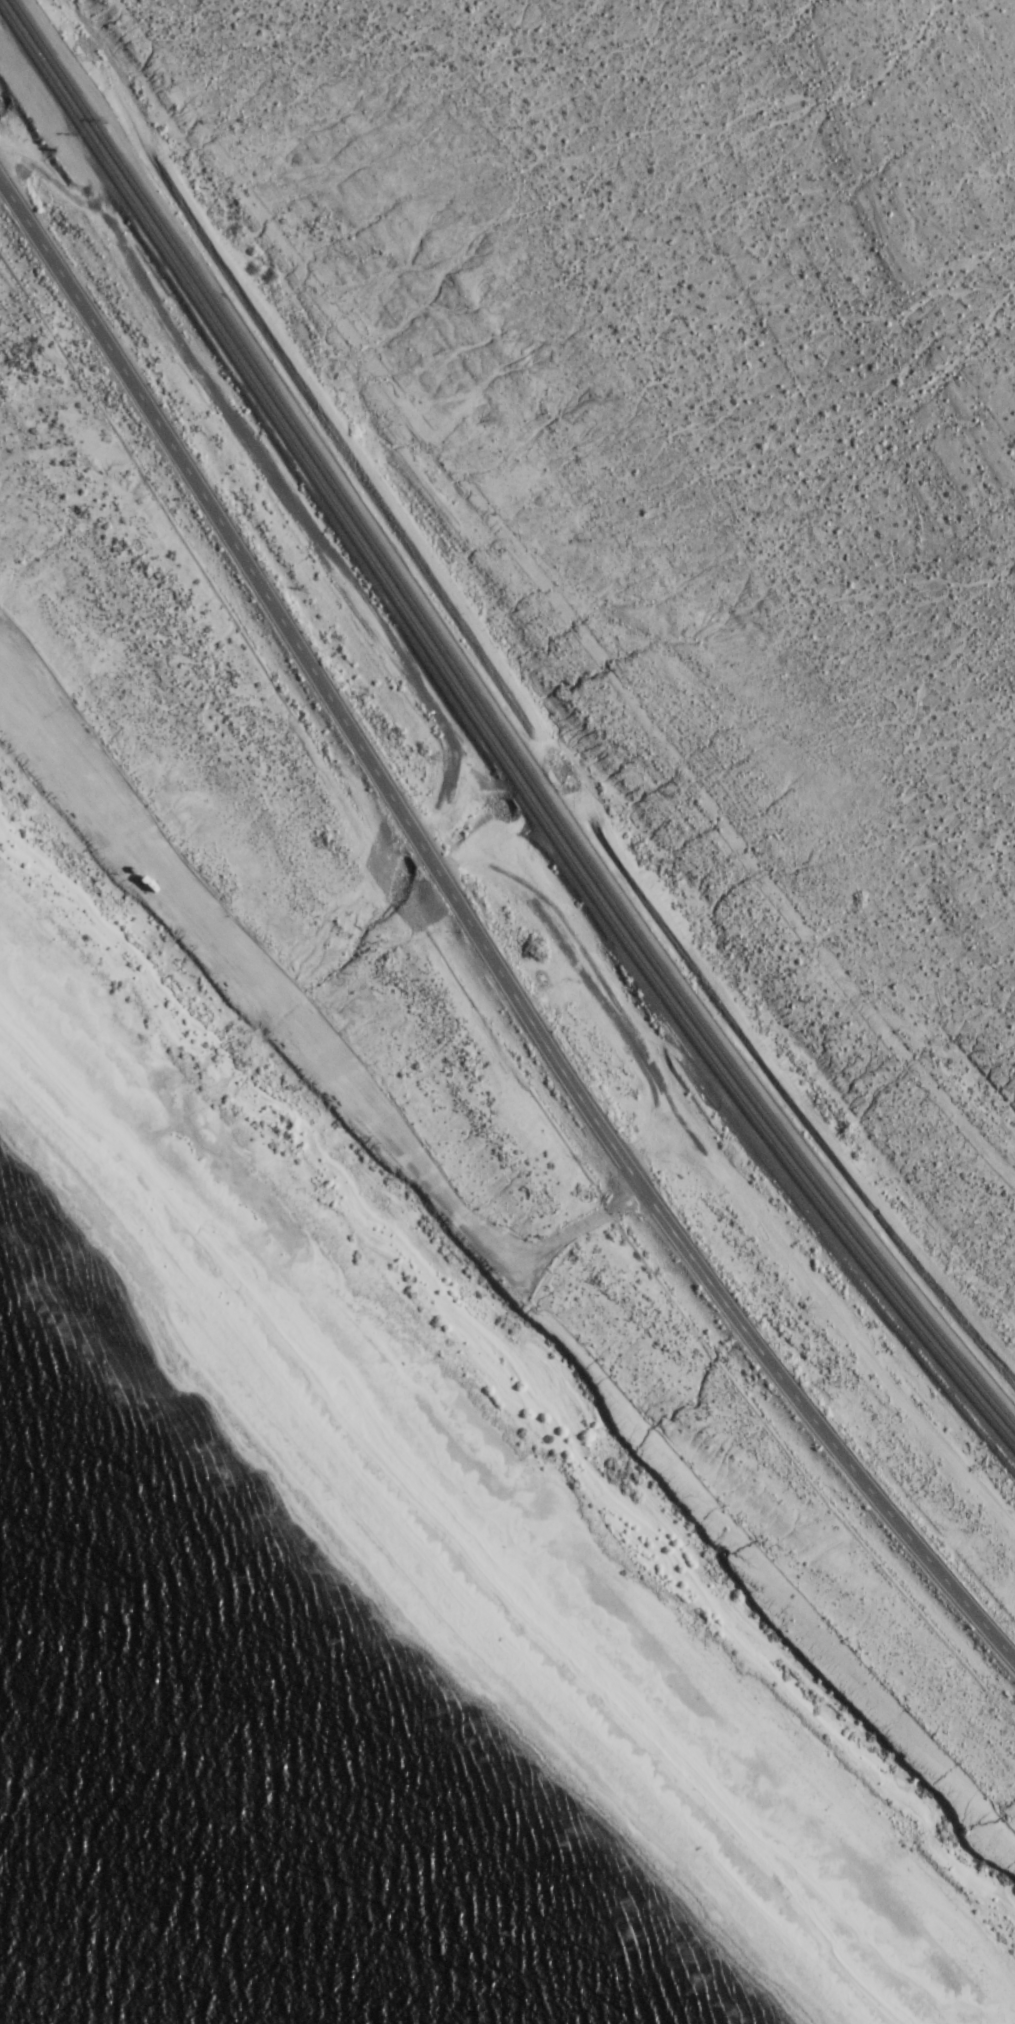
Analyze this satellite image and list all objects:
railway: (269, 400)
railway: (486, 747)
road: (480, 942)
road: (305, 1040)
railway: (766, 1123)
road: (766, 1591)

